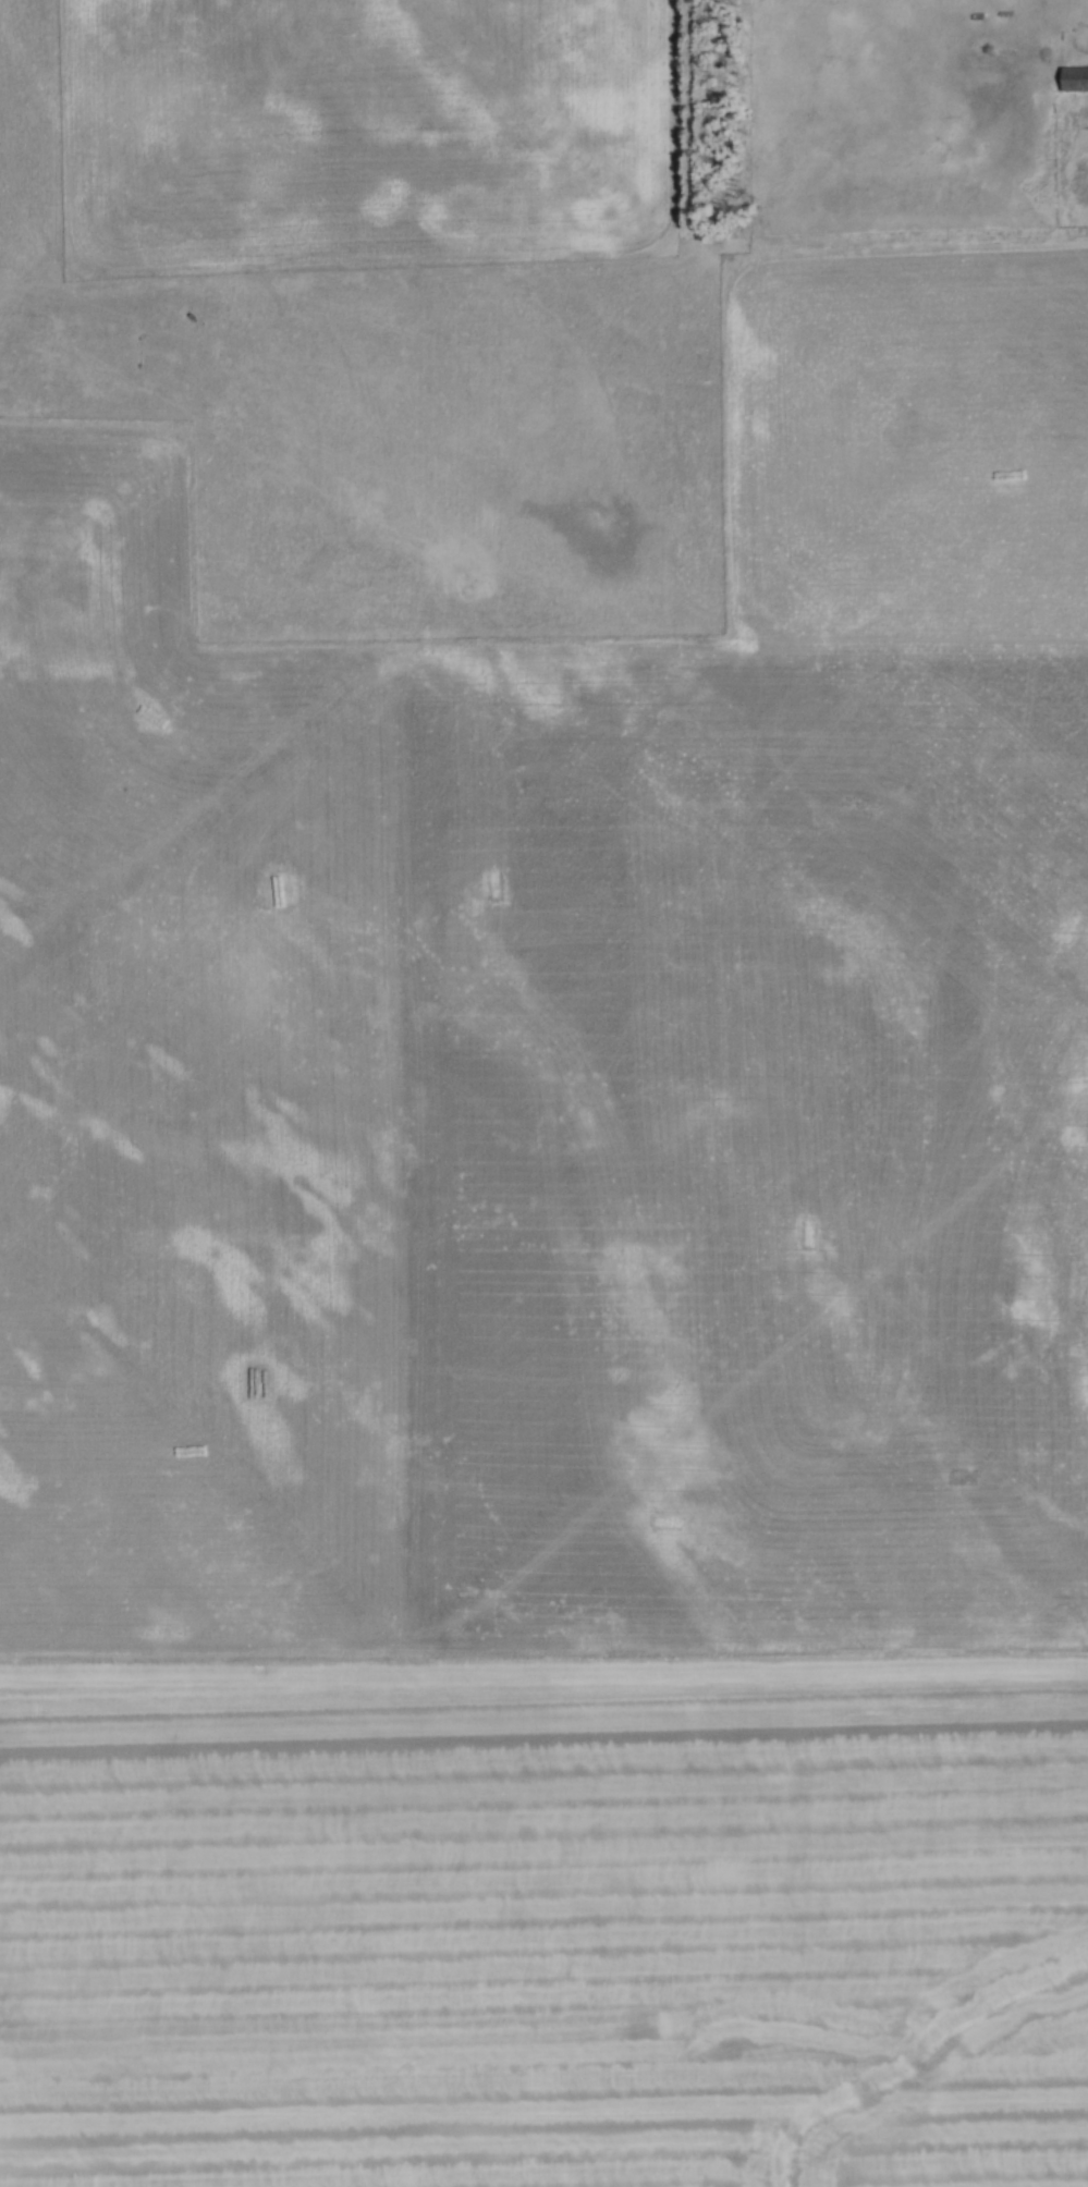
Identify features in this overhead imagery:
building: (1076, 80)

